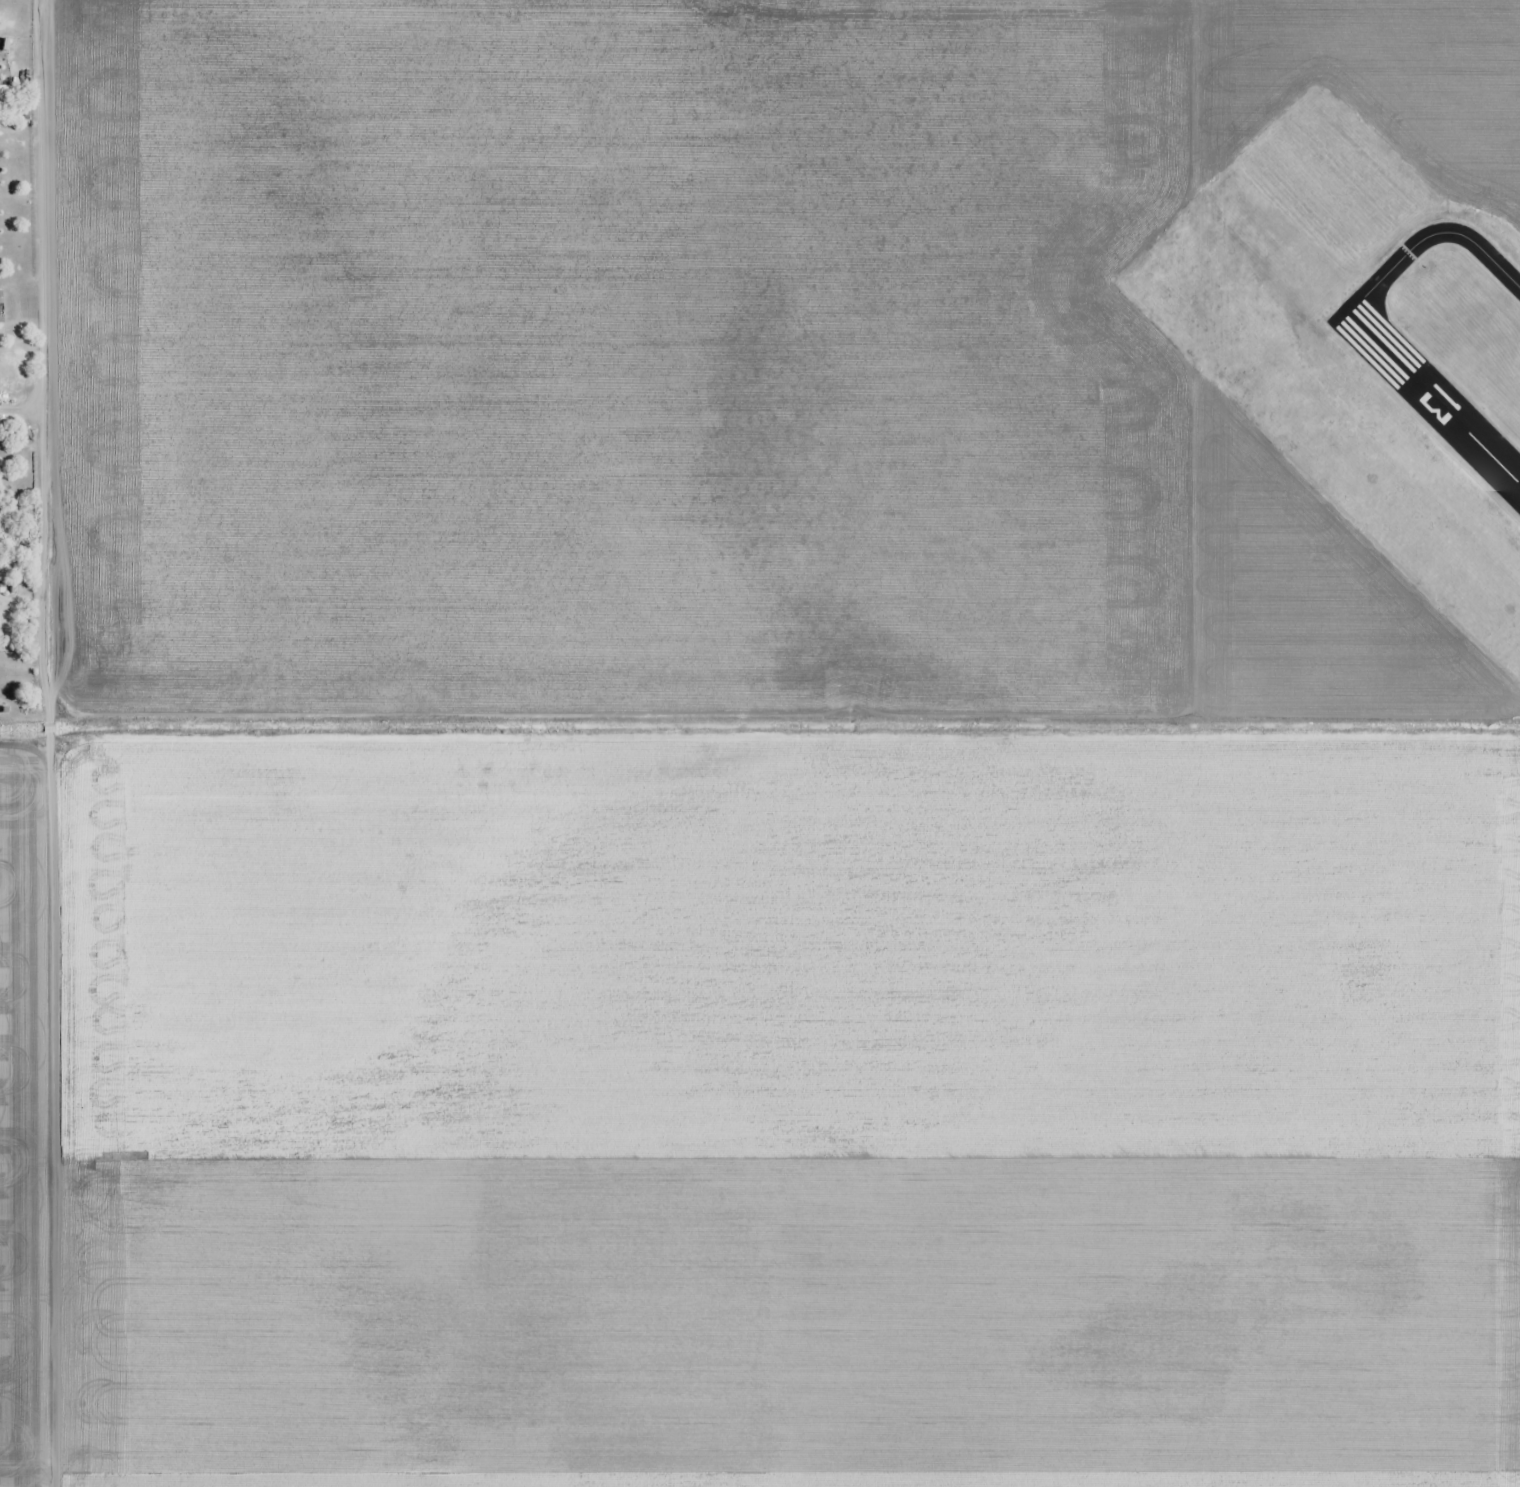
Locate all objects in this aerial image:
airport taxiway: (1429, 236)
building: (1, 307)
airport: (1351, 357)
airport runway: (1434, 398)
road: (68, 743)

